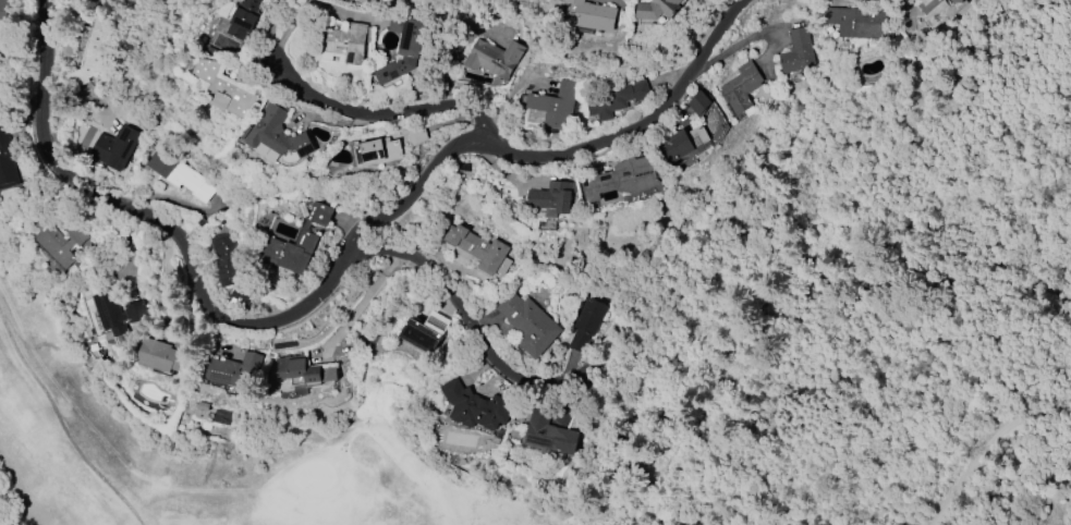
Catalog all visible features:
building: (684, 0)
building: (956, 1)
building: (927, 5)
building: (3, 9)
building: (656, 9)
building: (594, 15)
building: (243, 19)
building: (857, 22)
building: (342, 44)
building: (403, 46)
building: (96, 51)
building: (796, 52)
building: (492, 58)
building: (2, 59)
building: (741, 88)
building: (221, 89)
building: (614, 98)
building: (699, 102)
building: (555, 105)
road: (363, 109)
building: (417, 134)
building: (278, 135)
building: (684, 144)
building: (114, 147)
building: (373, 151)
road: (557, 152)
building: (8, 161)
building: (178, 173)
building: (622, 178)
building: (551, 198)
road: (161, 220)
building: (297, 242)
building: (59, 244)
building: (479, 249)
building: (229, 268)
road: (365, 298)
road: (451, 300)
building: (117, 312)
building: (528, 322)
building: (586, 325)
building: (421, 335)
building: (163, 356)
building: (303, 370)
building: (236, 371)
building: (474, 406)
road: (56, 413)
park: (44, 417)
building: (547, 432)
road: (991, 448)
park: (313, 474)

